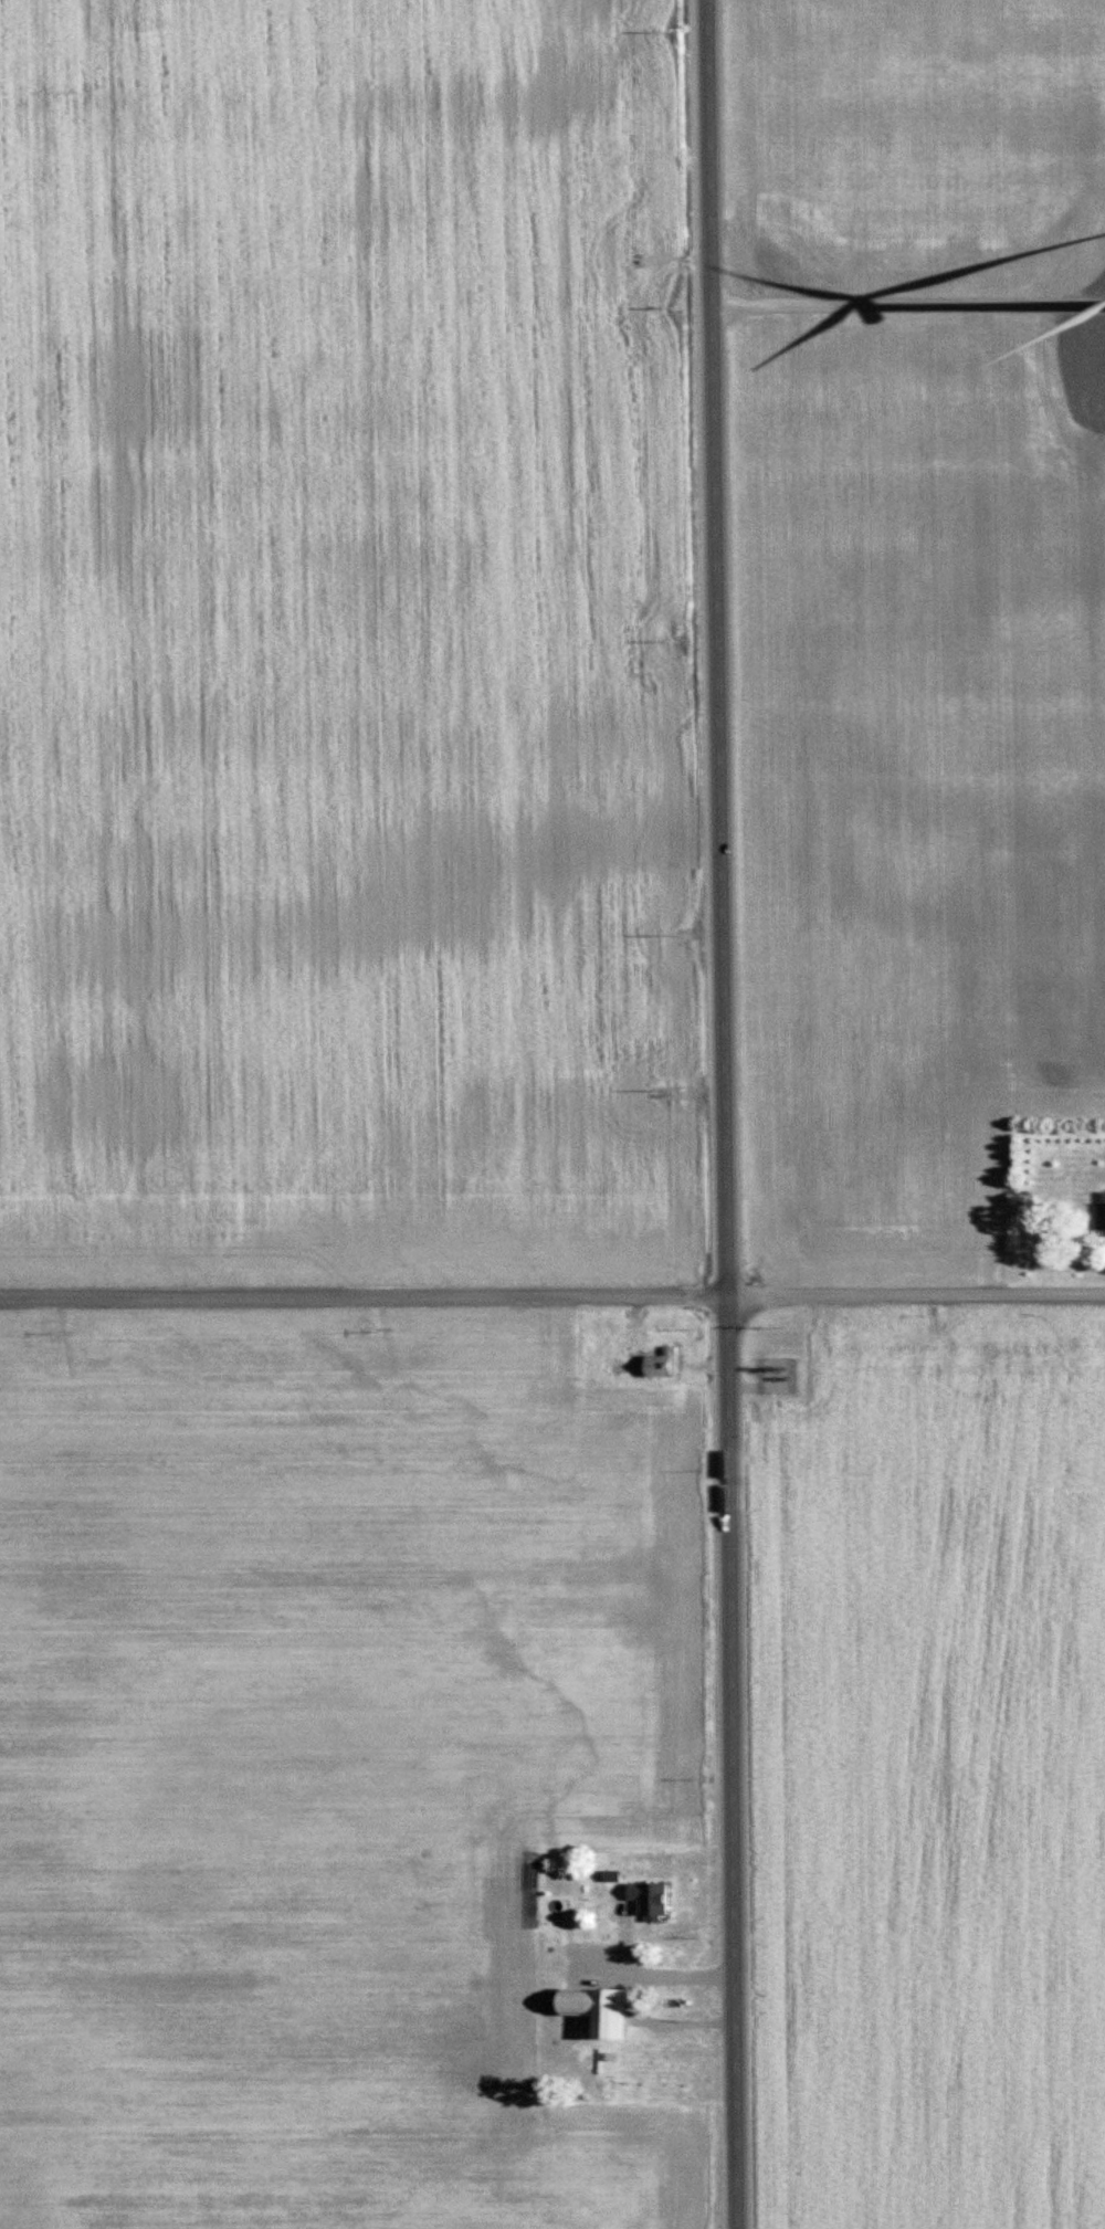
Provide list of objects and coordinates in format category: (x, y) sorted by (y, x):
road: (725, 1114)
building: (1099, 1215)
road: (551, 1299)
building: (662, 1363)
building: (650, 1899)
road: (621, 1946)
building: (582, 1994)
road: (633, 1995)
building: (606, 2088)

